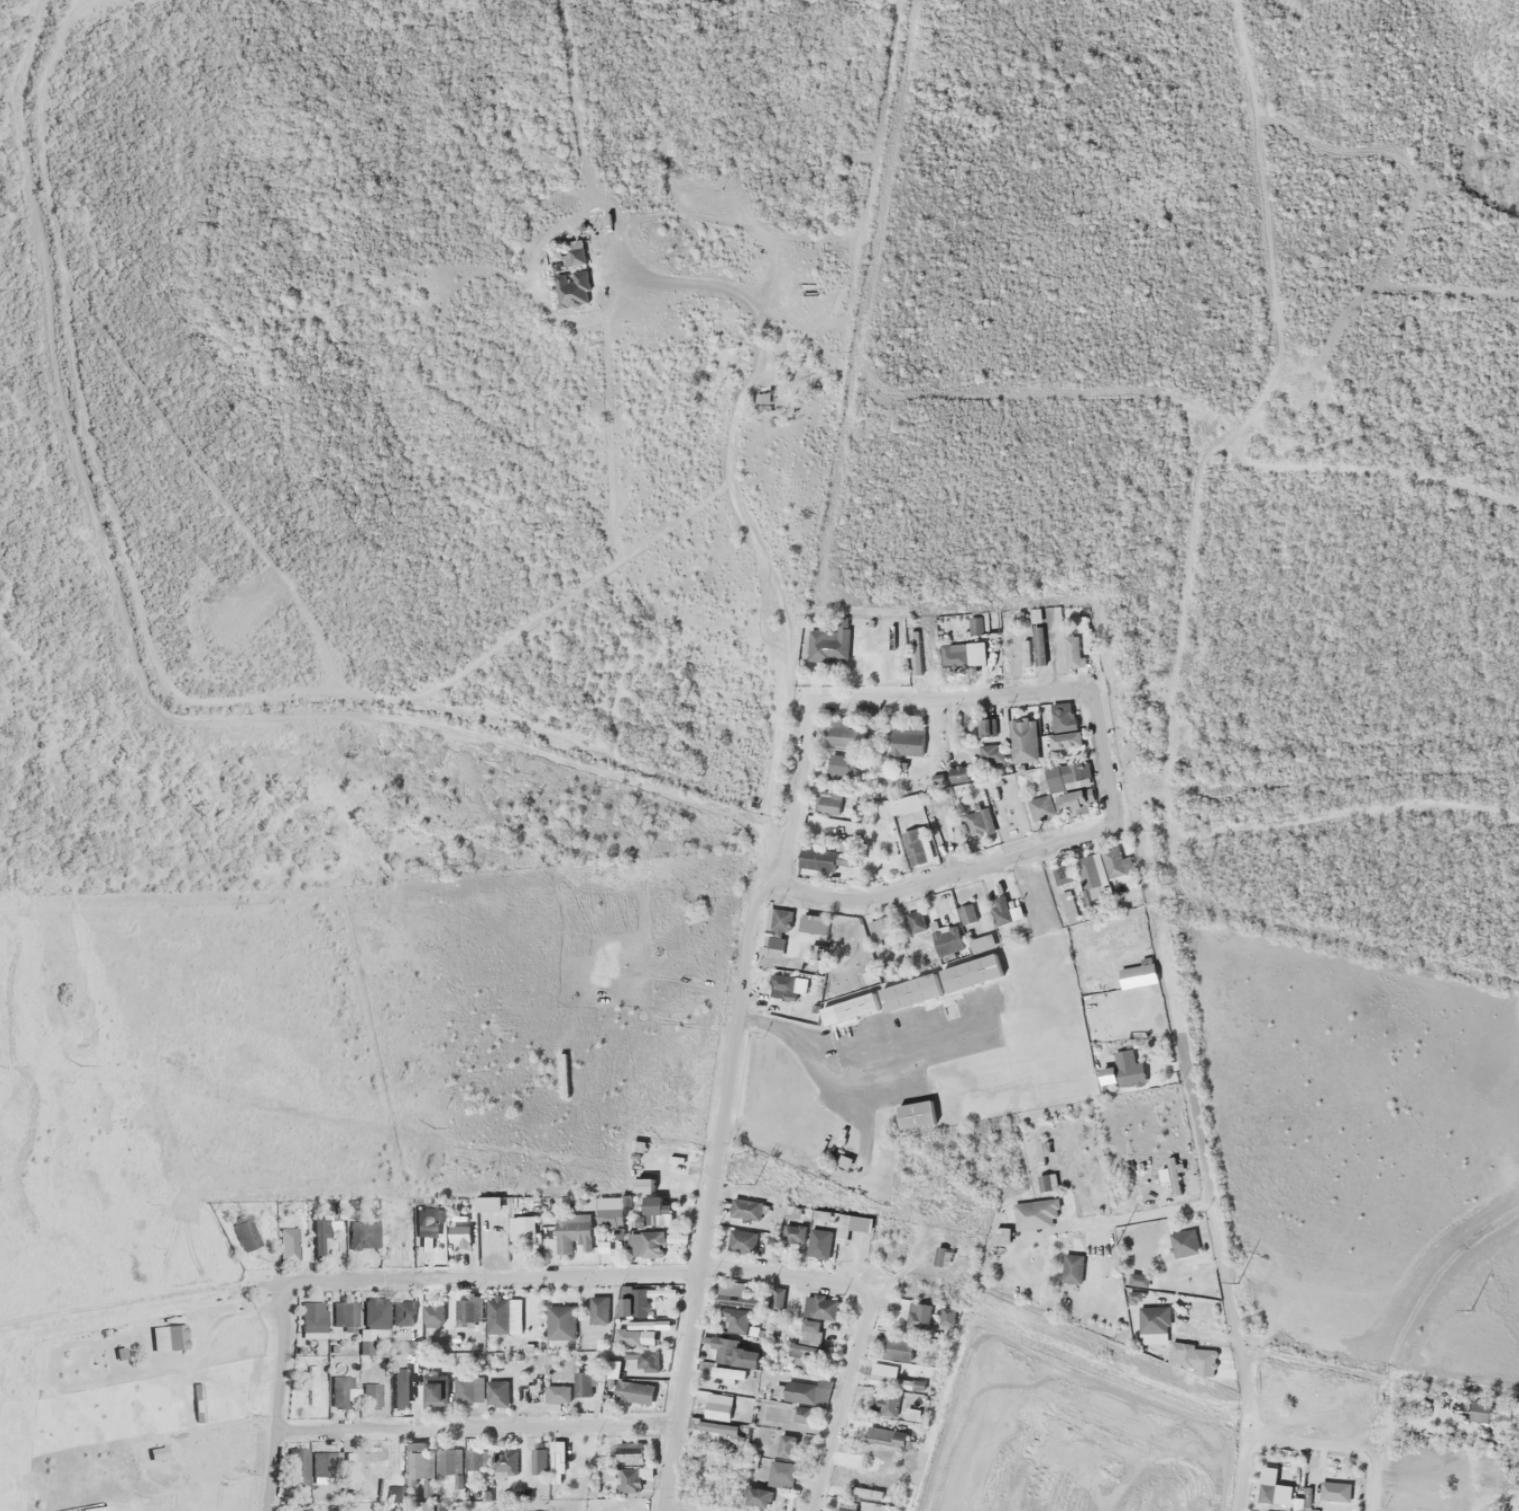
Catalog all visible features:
building: (570, 253)
building: (974, 623)
building: (1071, 652)
building: (975, 653)
building: (1025, 654)
road: (364, 717)
building: (1063, 720)
building: (846, 733)
building: (907, 740)
building: (1065, 740)
building: (1024, 741)
road: (335, 754)
building: (965, 754)
building: (991, 755)
building: (841, 766)
building: (960, 773)
building: (1065, 775)
road: (1112, 798)
road: (797, 801)
building: (1078, 802)
building: (904, 804)
building: (1041, 809)
building: (975, 822)
building: (914, 847)
building: (824, 858)
building: (1115, 869)
building: (966, 913)
building: (915, 921)
building: (947, 940)
building: (981, 943)
building: (970, 973)
building: (1136, 974)
building: (909, 992)
building: (849, 1008)
road: (732, 1024)
building: (1122, 1071)
building: (915, 1114)
building: (1172, 1175)
building: (1046, 1181)
building: (644, 1185)
building: (745, 1208)
road: (1162, 1209)
building: (656, 1211)
building: (1039, 1211)
building: (426, 1222)
building: (522, 1228)
building: (572, 1232)
building: (460, 1233)
building: (793, 1233)
building: (319, 1236)
road: (1217, 1236)
building: (401, 1238)
building: (740, 1240)
building: (819, 1242)
building: (1182, 1242)
building: (288, 1243)
building: (648, 1243)
road: (683, 1271)
building: (1137, 1279)
building: (734, 1295)
building: (776, 1299)
building: (636, 1303)
building: (819, 1307)
building: (598, 1310)
building: (468, 1311)
building: (403, 1312)
building: (375, 1313)
building: (343, 1314)
building: (435, 1314)
building: (503, 1315)
building: (918, 1315)
building: (312, 1319)
building: (561, 1322)
building: (641, 1324)
building: (1153, 1324)
road: (688, 1340)
building: (806, 1344)
building: (896, 1349)
building: (733, 1353)
building: (632, 1360)
building: (1202, 1360)
building: (583, 1384)
building: (889, 1387)
building: (406, 1388)
building: (469, 1388)
building: (341, 1390)
building: (435, 1390)
building: (633, 1391)
building: (496, 1393)
building: (805, 1393)
building: (371, 1395)
building: (556, 1396)
road: (275, 1401)
building: (717, 1407)
building: (1479, 1411)
road: (475, 1427)
building: (718, 1427)
building: (885, 1436)
road: (1313, 1439)
building: (786, 1445)
building: (629, 1452)
building: (538, 1458)
building: (478, 1459)
building: (419, 1461)
building: (449, 1461)
building: (505, 1463)
building: (321, 1464)
building: (556, 1466)
building: (298, 1469)
building: (780, 1474)
road: (1375, 1478)
building: (613, 1480)
building: (426, 1488)
building: (861, 1491)
building: (1334, 1491)
building: (1268, 1493)
building: (395, 1495)
building: (758, 1497)
building: (847, 1505)
building: (428, 1506)

